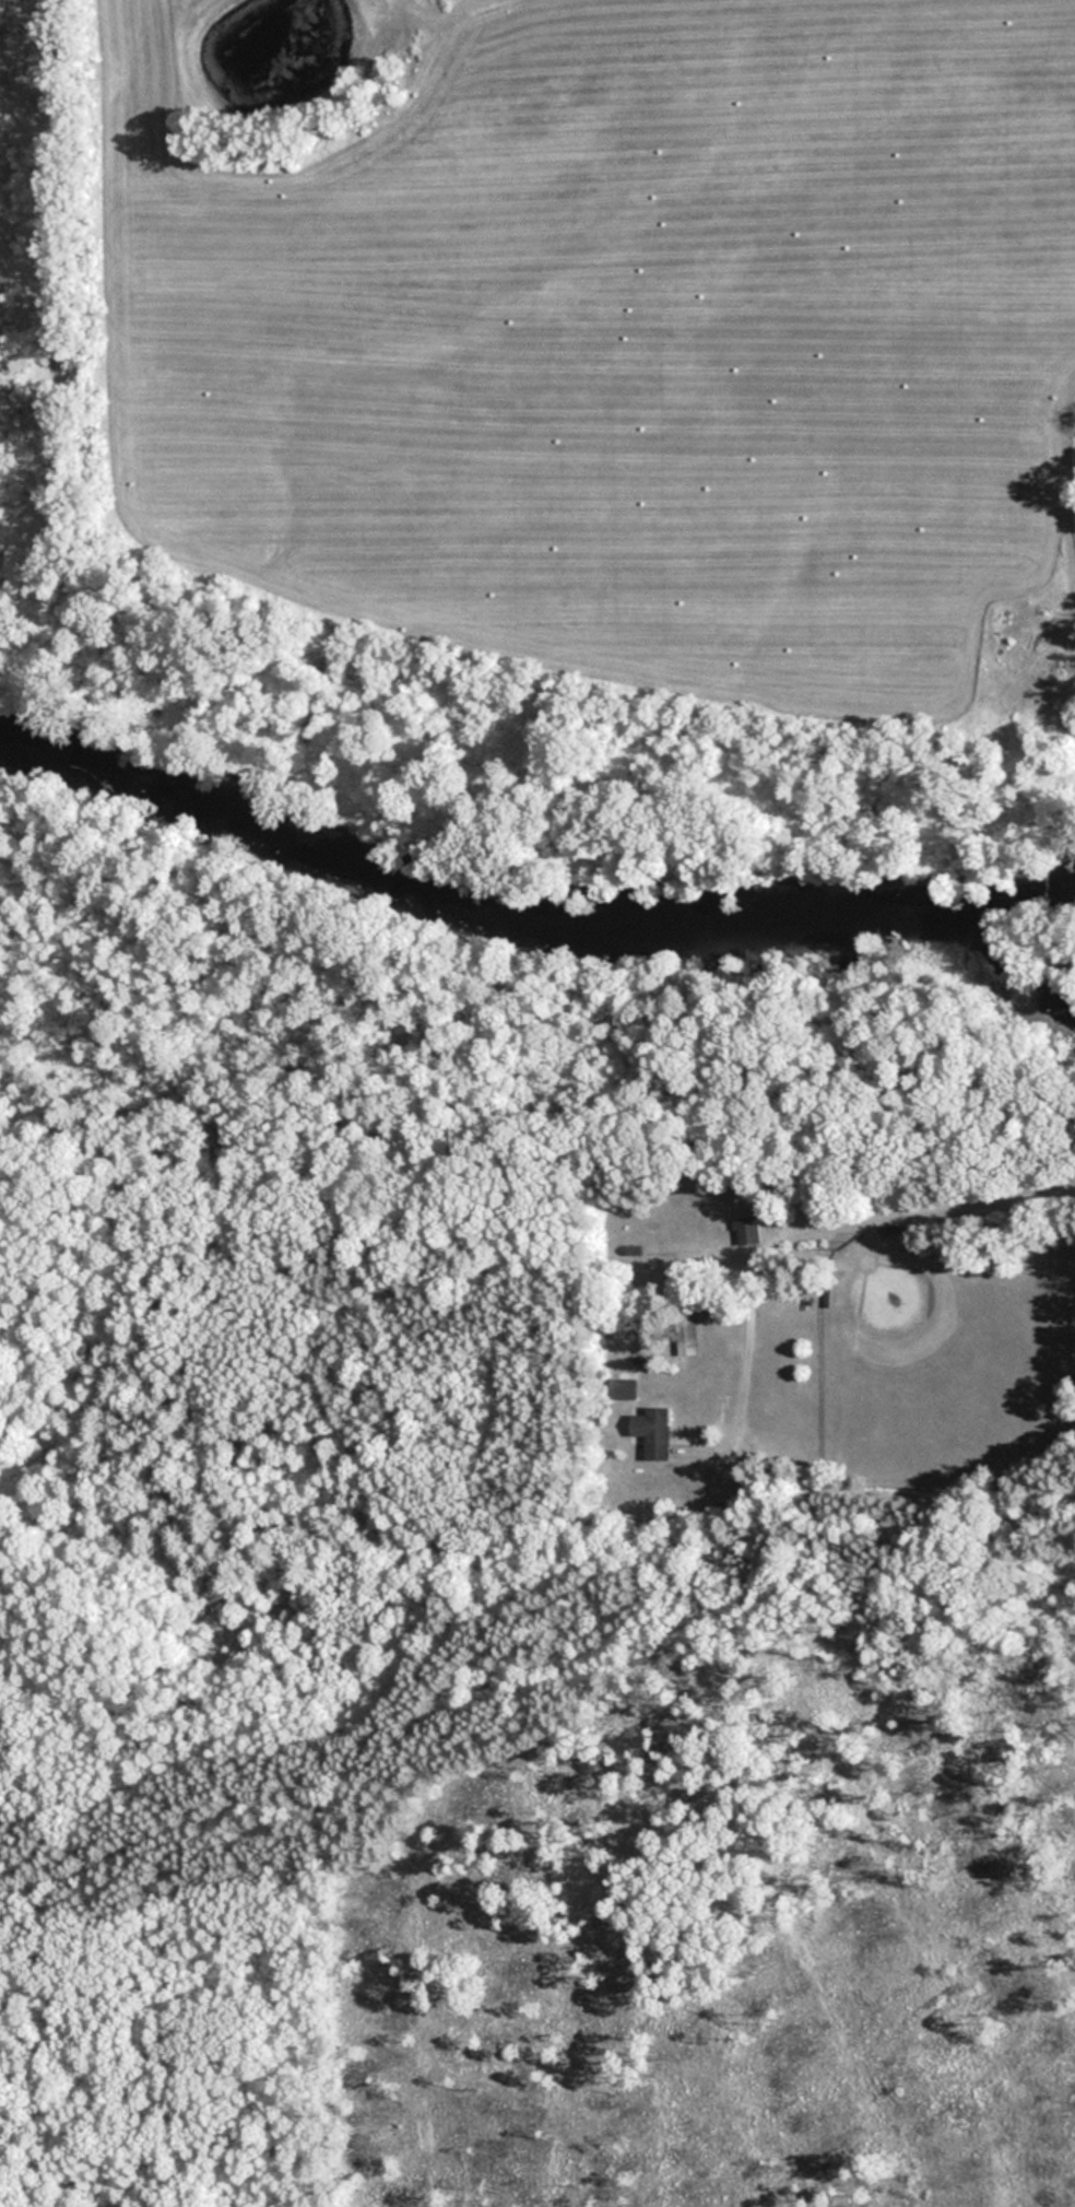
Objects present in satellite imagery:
river: (522, 900)
road: (929, 1207)
building: (742, 1213)
building: (889, 1228)
building: (685, 1330)
building: (626, 1388)
building: (650, 1431)
road: (533, 1562)
park: (452, 1623)

